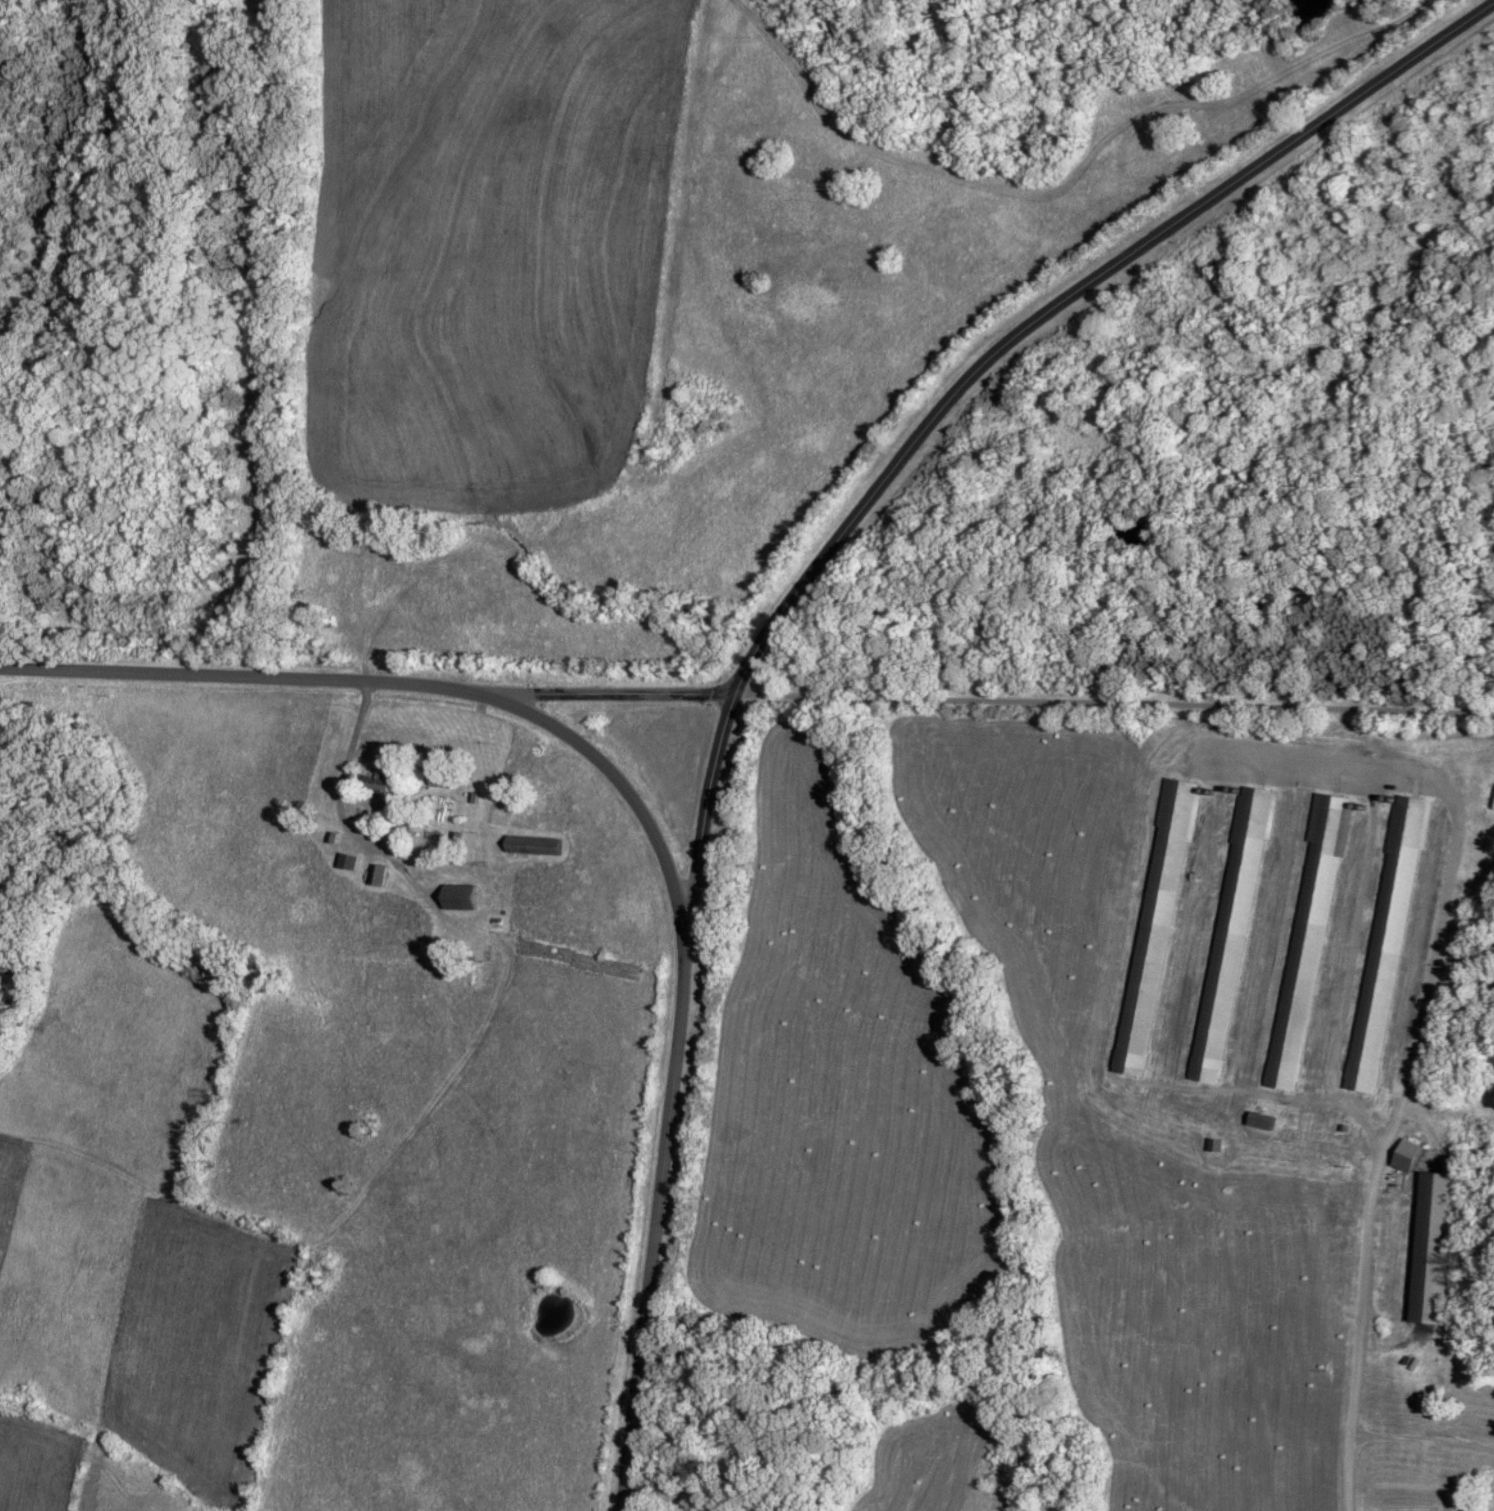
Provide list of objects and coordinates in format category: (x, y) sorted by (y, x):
road: (962, 384)
road: (606, 692)
road: (1114, 705)
road: (355, 741)
road: (1172, 749)
building: (440, 775)
building: (379, 790)
road: (647, 822)
road: (373, 842)
building: (531, 848)
building: (347, 863)
building: (377, 877)
building: (458, 899)
building: (1155, 928)
building: (1231, 936)
building: (1307, 943)
building: (1385, 945)
building: (1262, 1122)
building: (1405, 1157)
building: (1397, 1181)
building: (1432, 1249)
road: (1353, 1342)
building: (1469, 1477)

